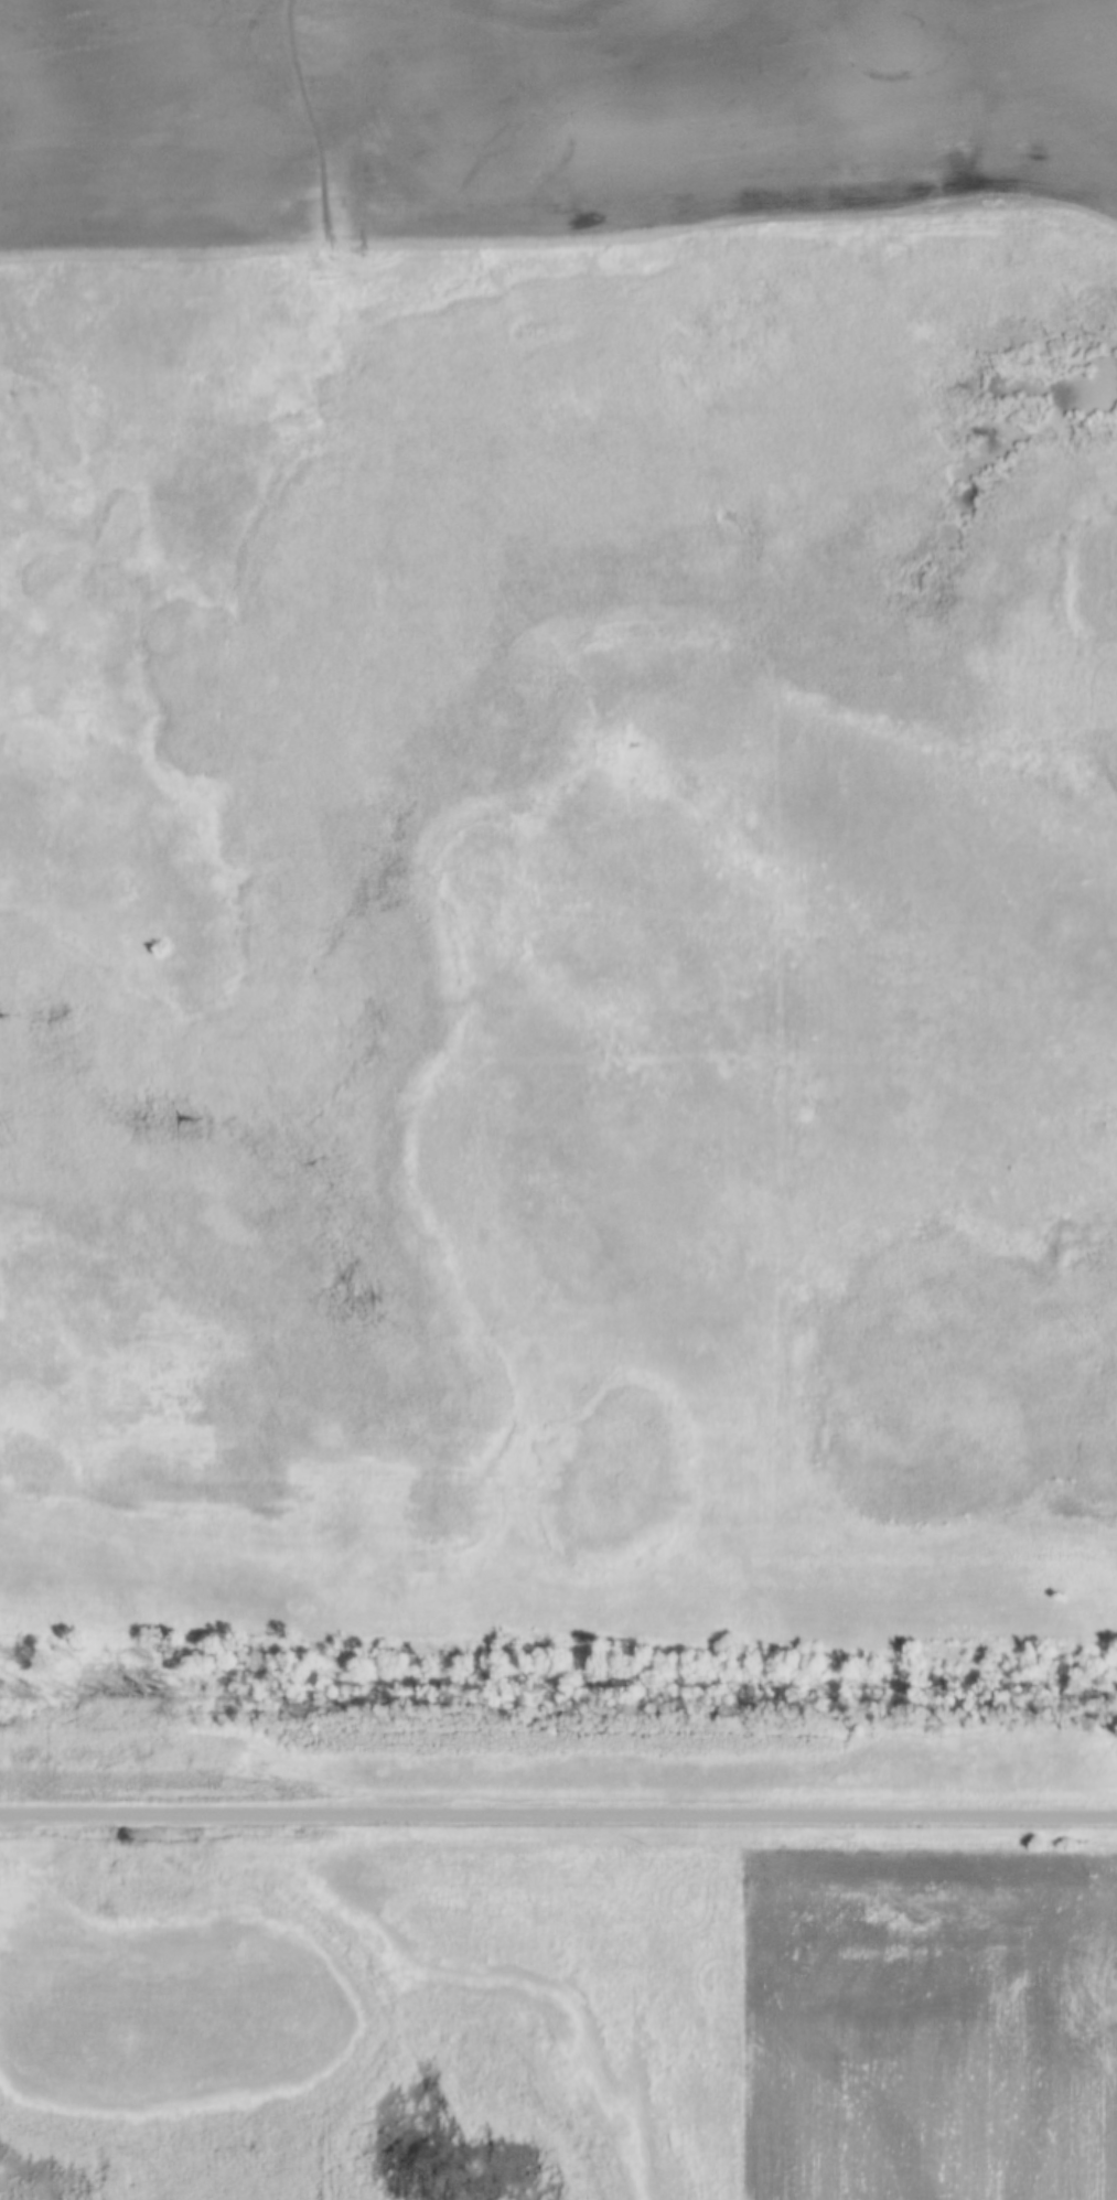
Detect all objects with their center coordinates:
road: (558, 1818)

